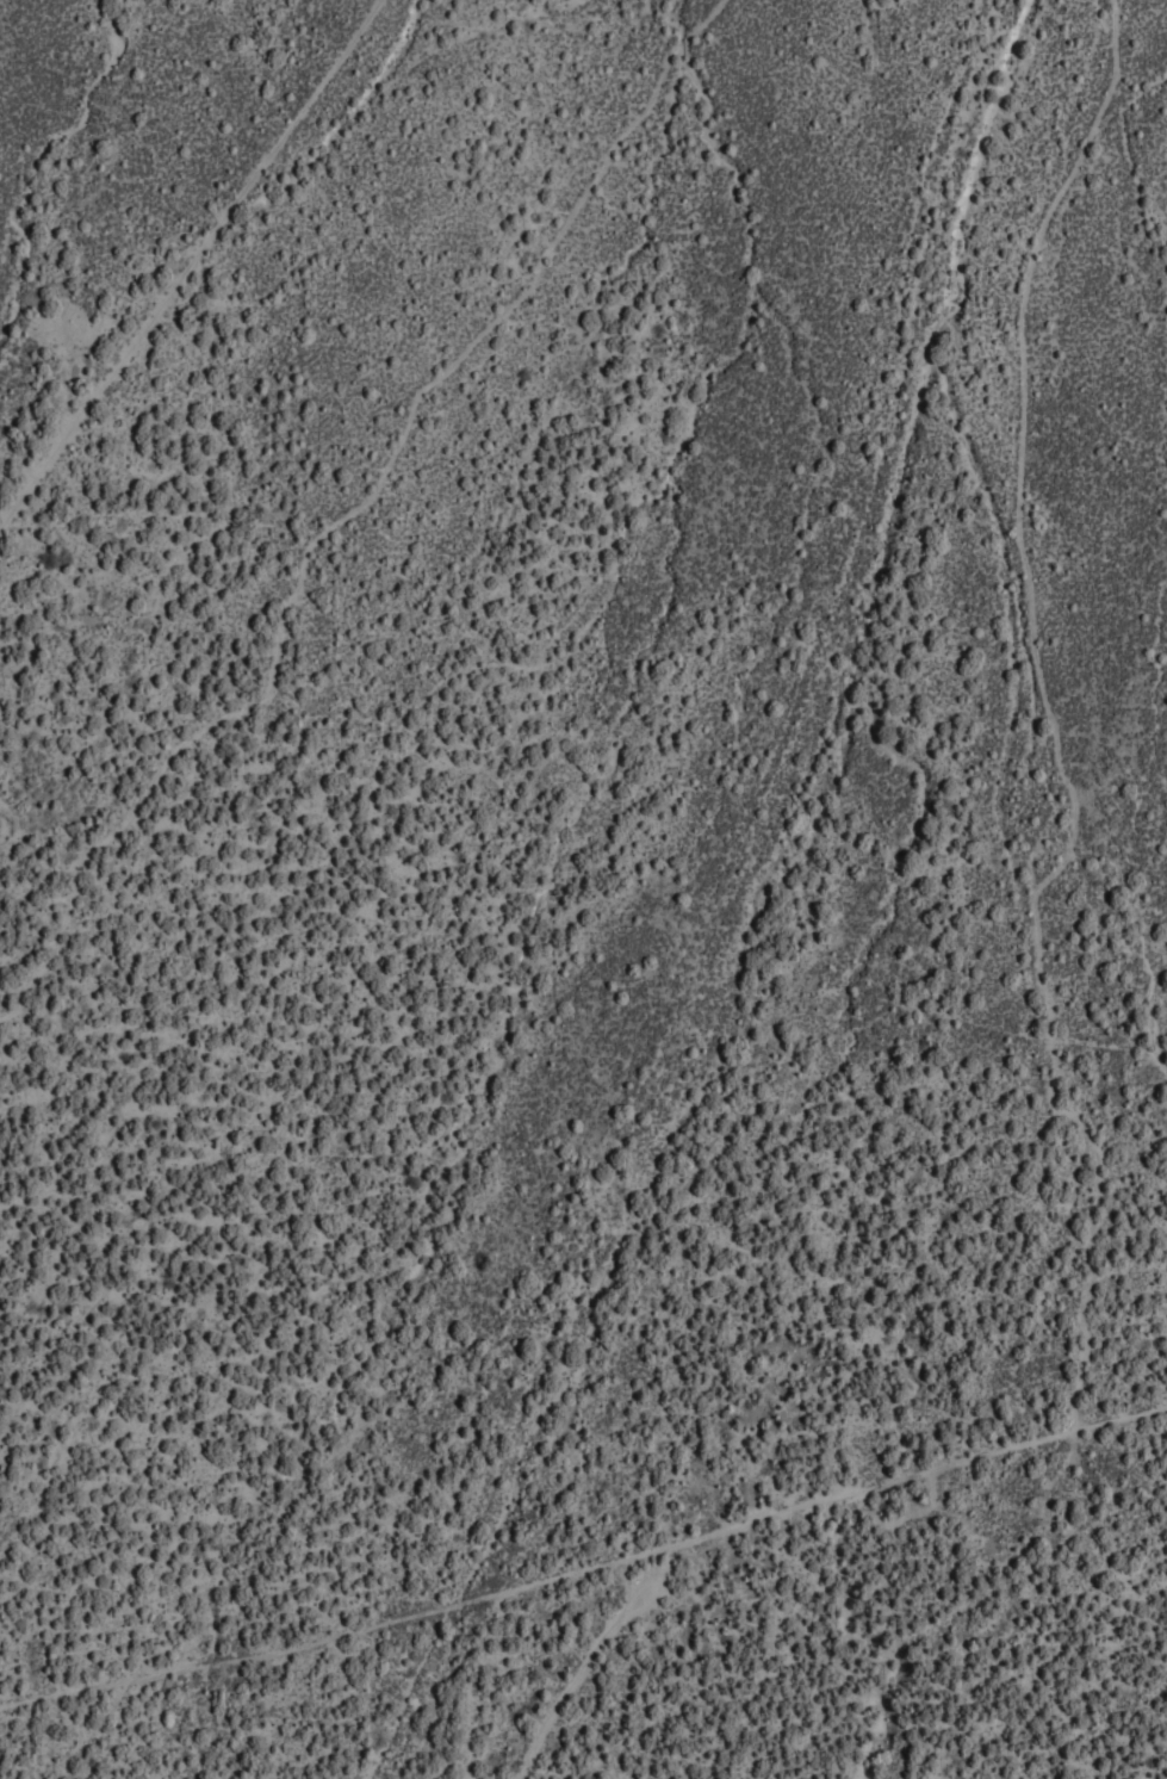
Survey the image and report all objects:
road: (1008, 483)
road: (690, 910)

